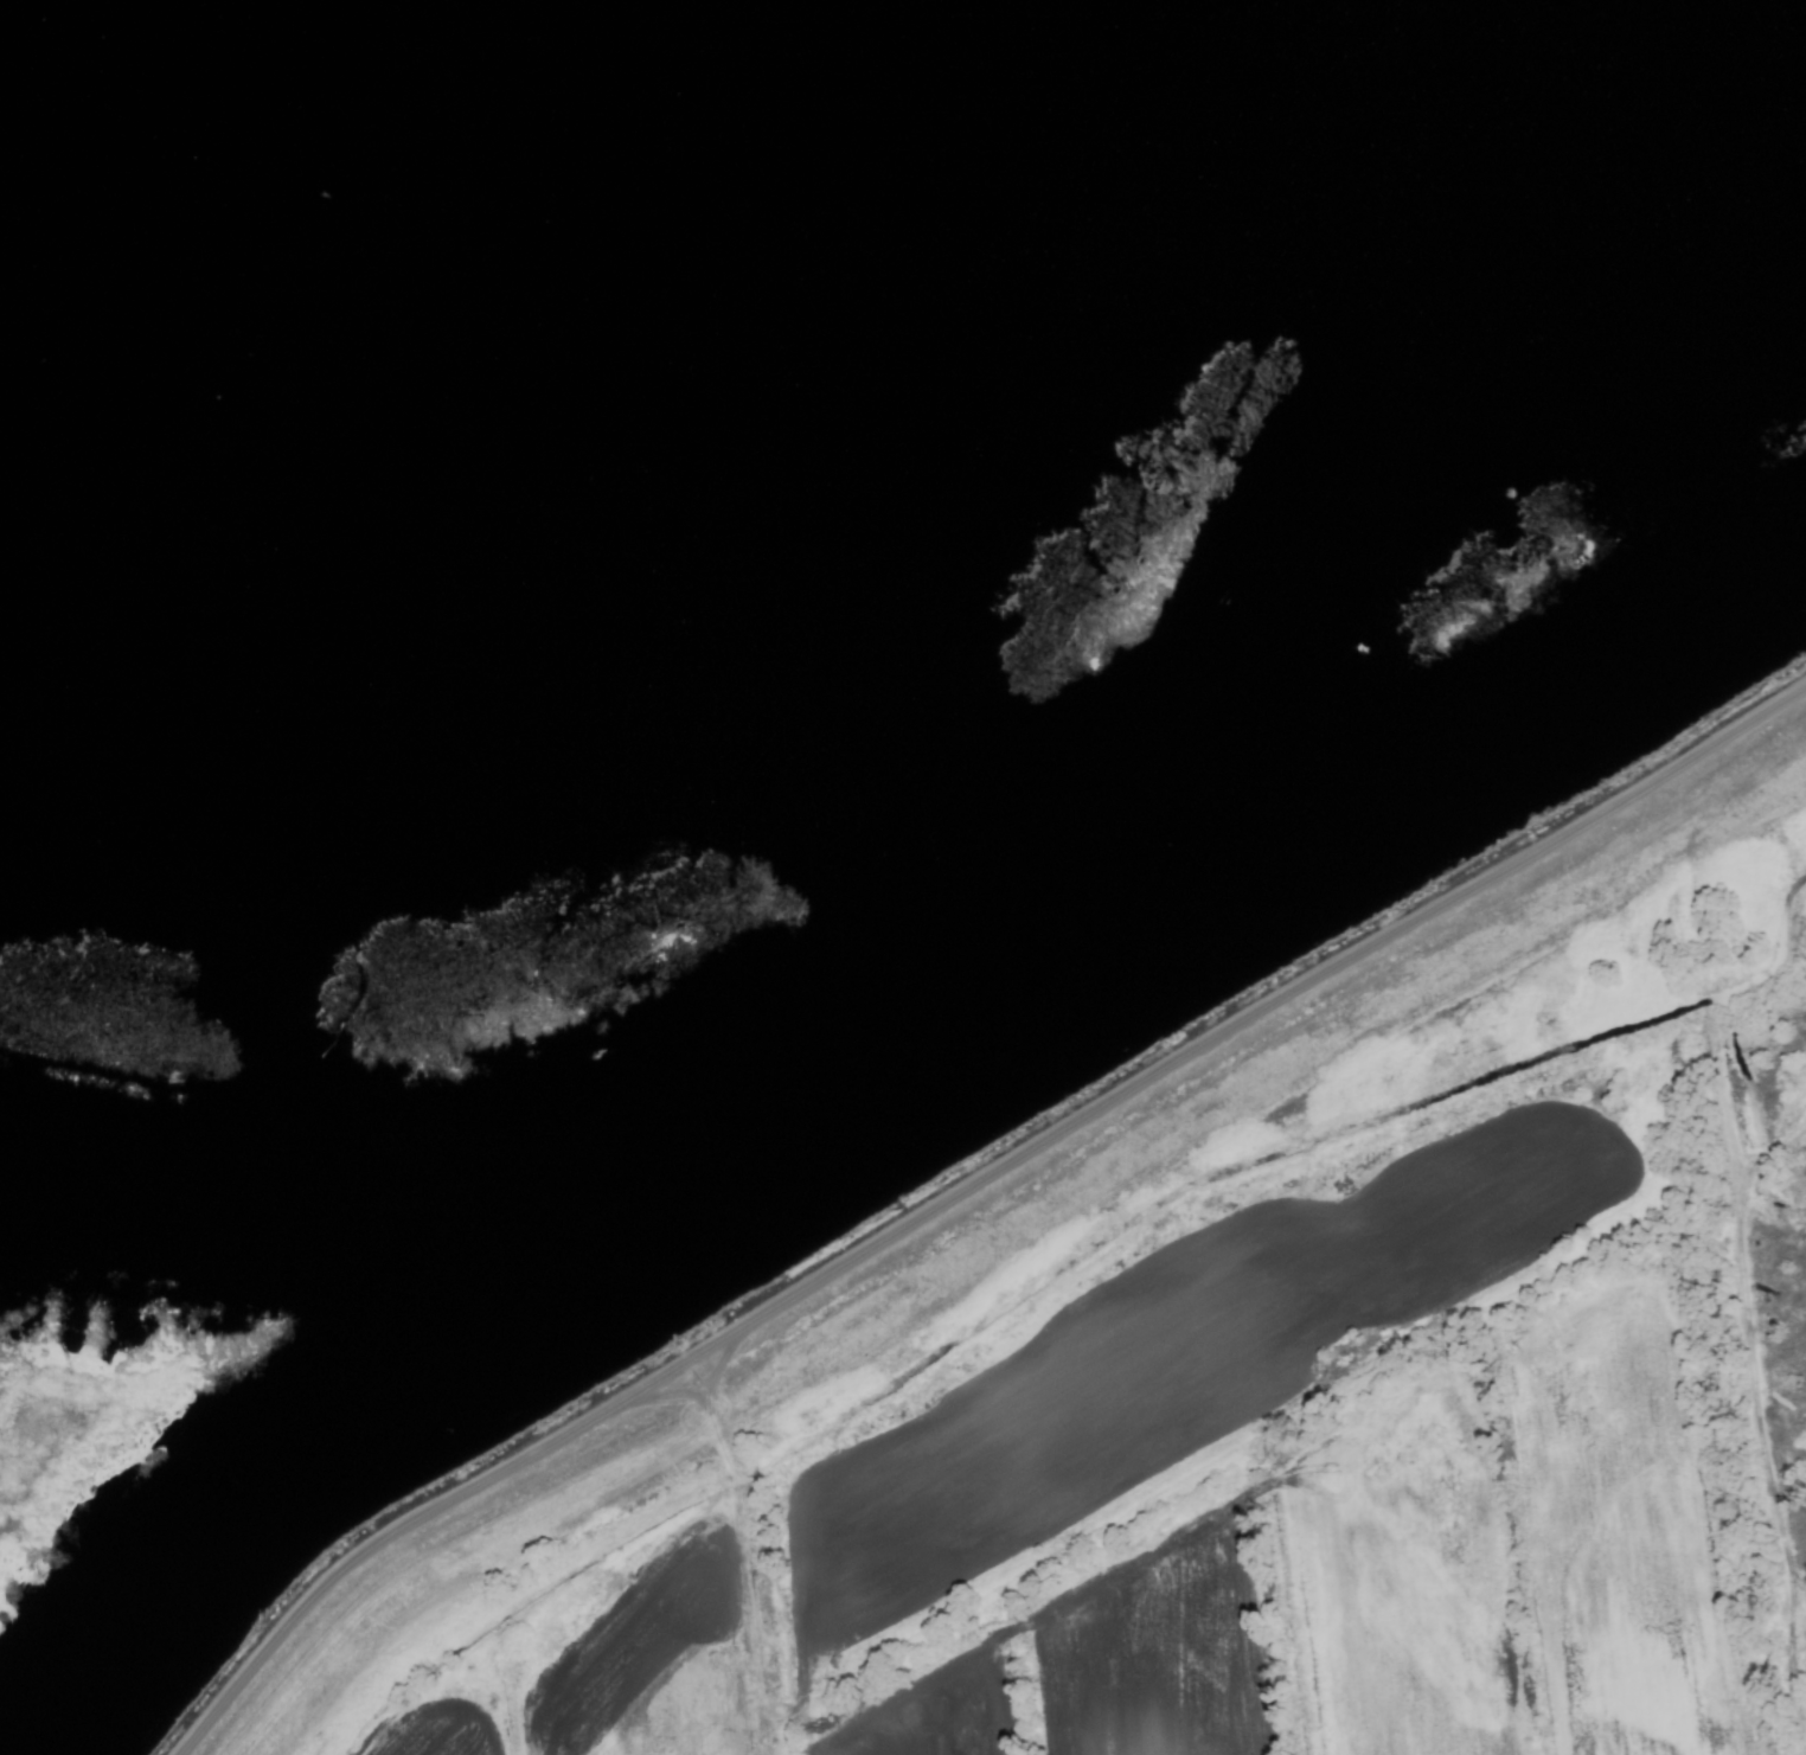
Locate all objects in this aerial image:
crop: (1251, 1389)

